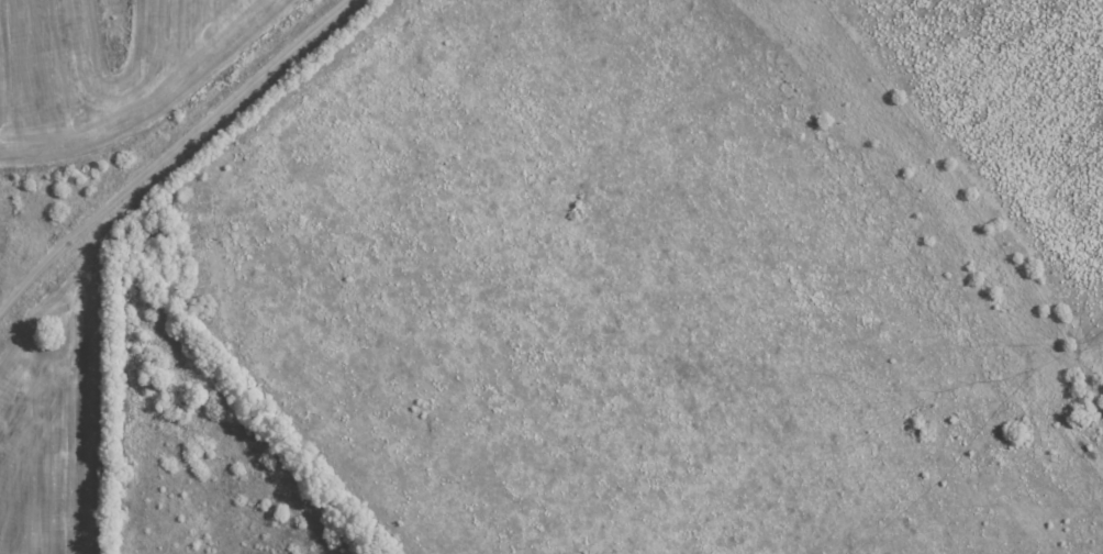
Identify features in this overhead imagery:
road: (169, 156)

